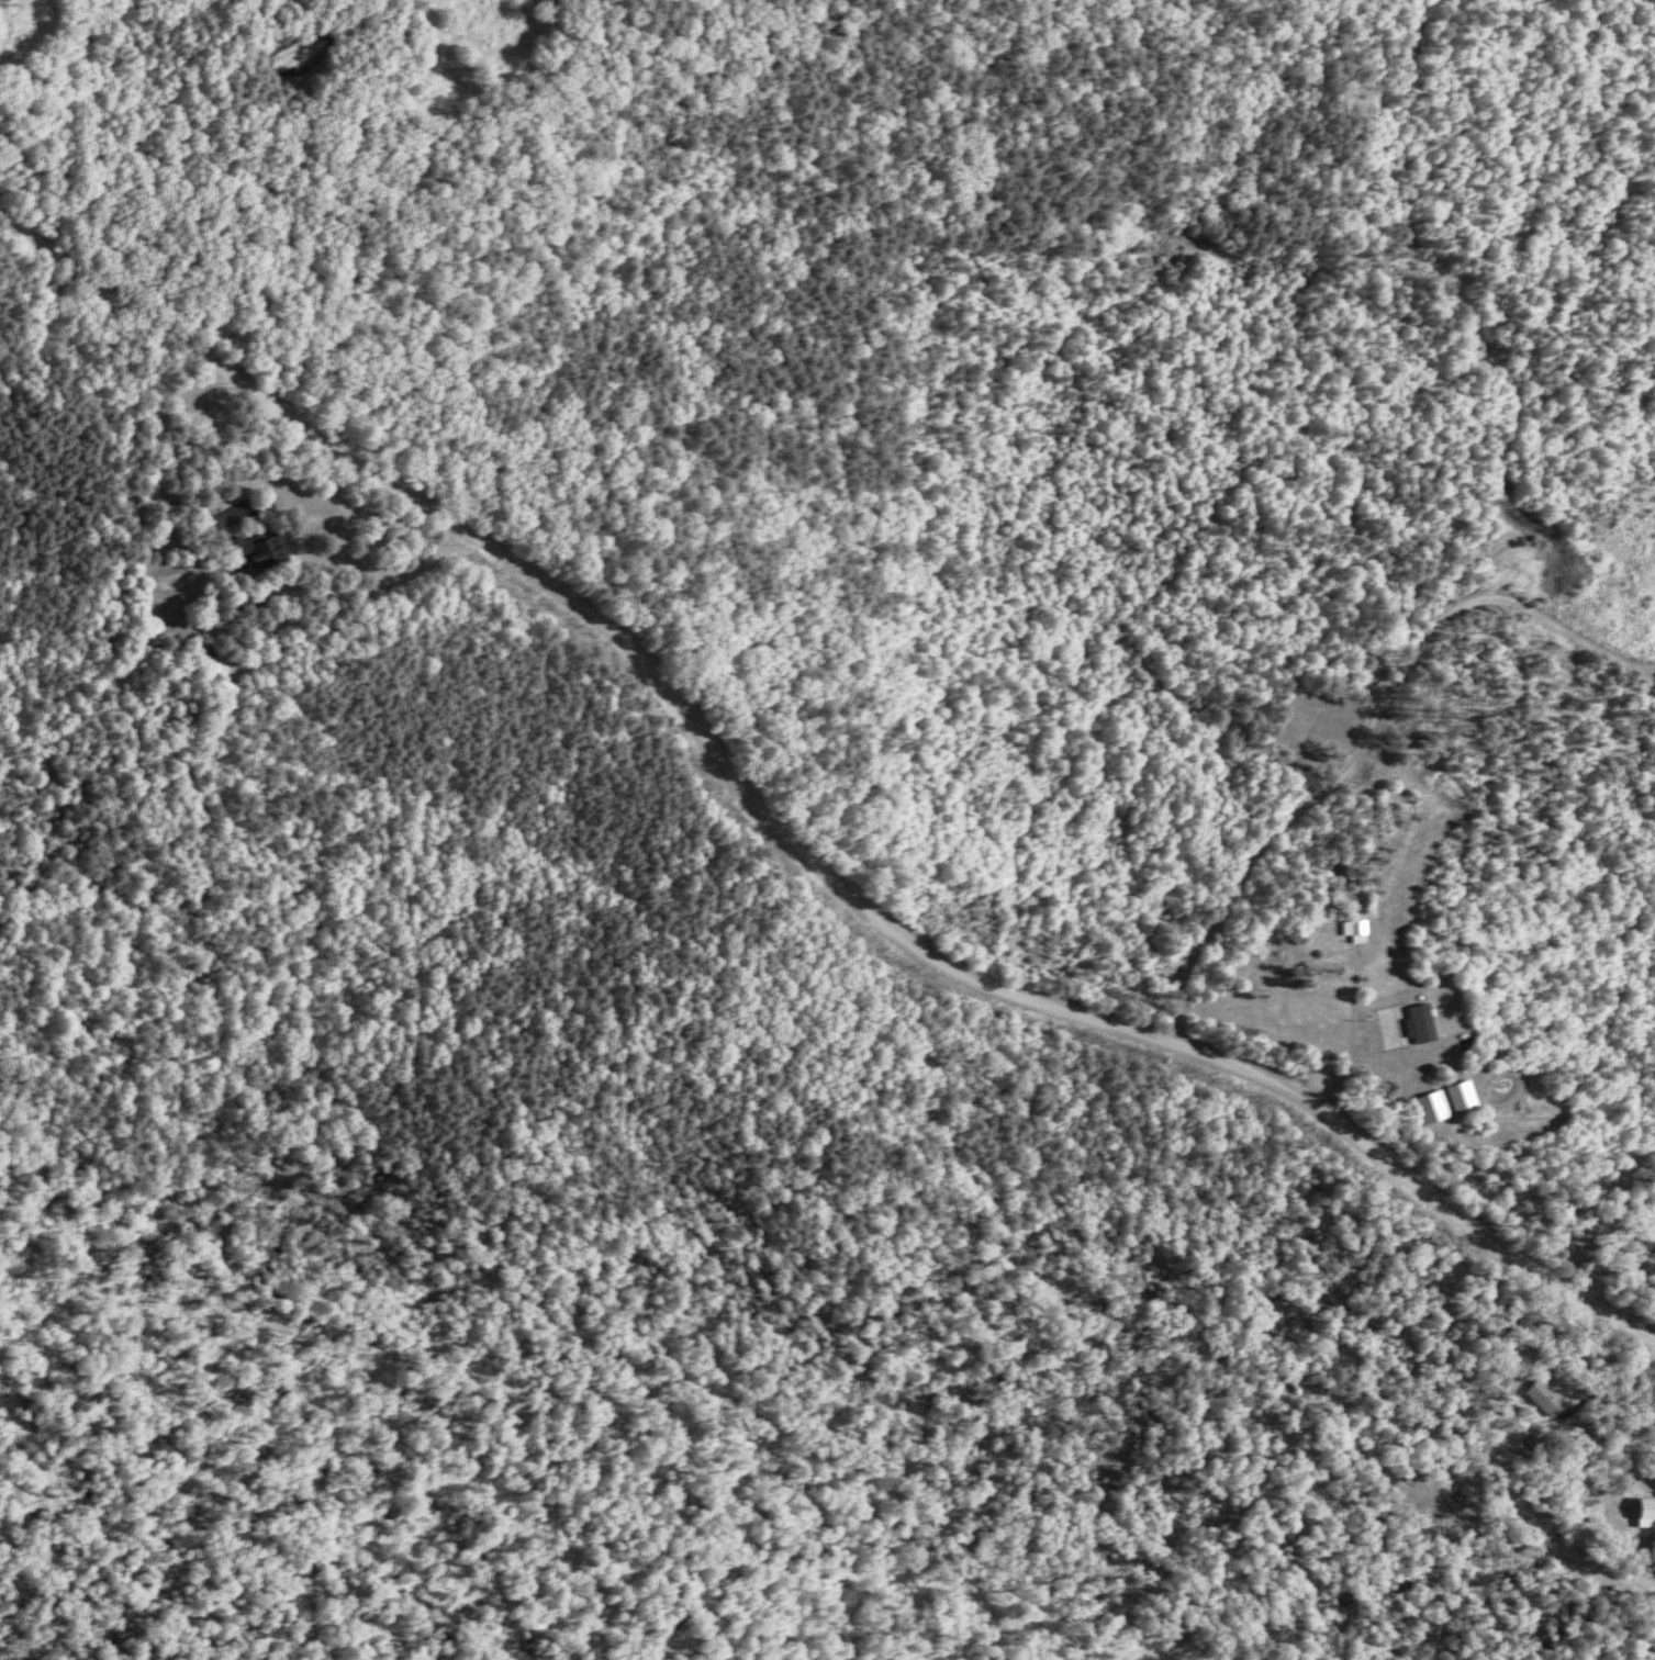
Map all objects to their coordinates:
road: (1496, 460)
road: (1473, 492)
building: (256, 547)
road: (373, 582)
road: (1518, 685)
road: (1369, 733)
road: (782, 844)
building: (1354, 929)
building: (1420, 1021)
building: (1462, 1095)
building: (1431, 1106)
building: (1548, 1395)
road: (1604, 1505)
building: (1646, 1512)

